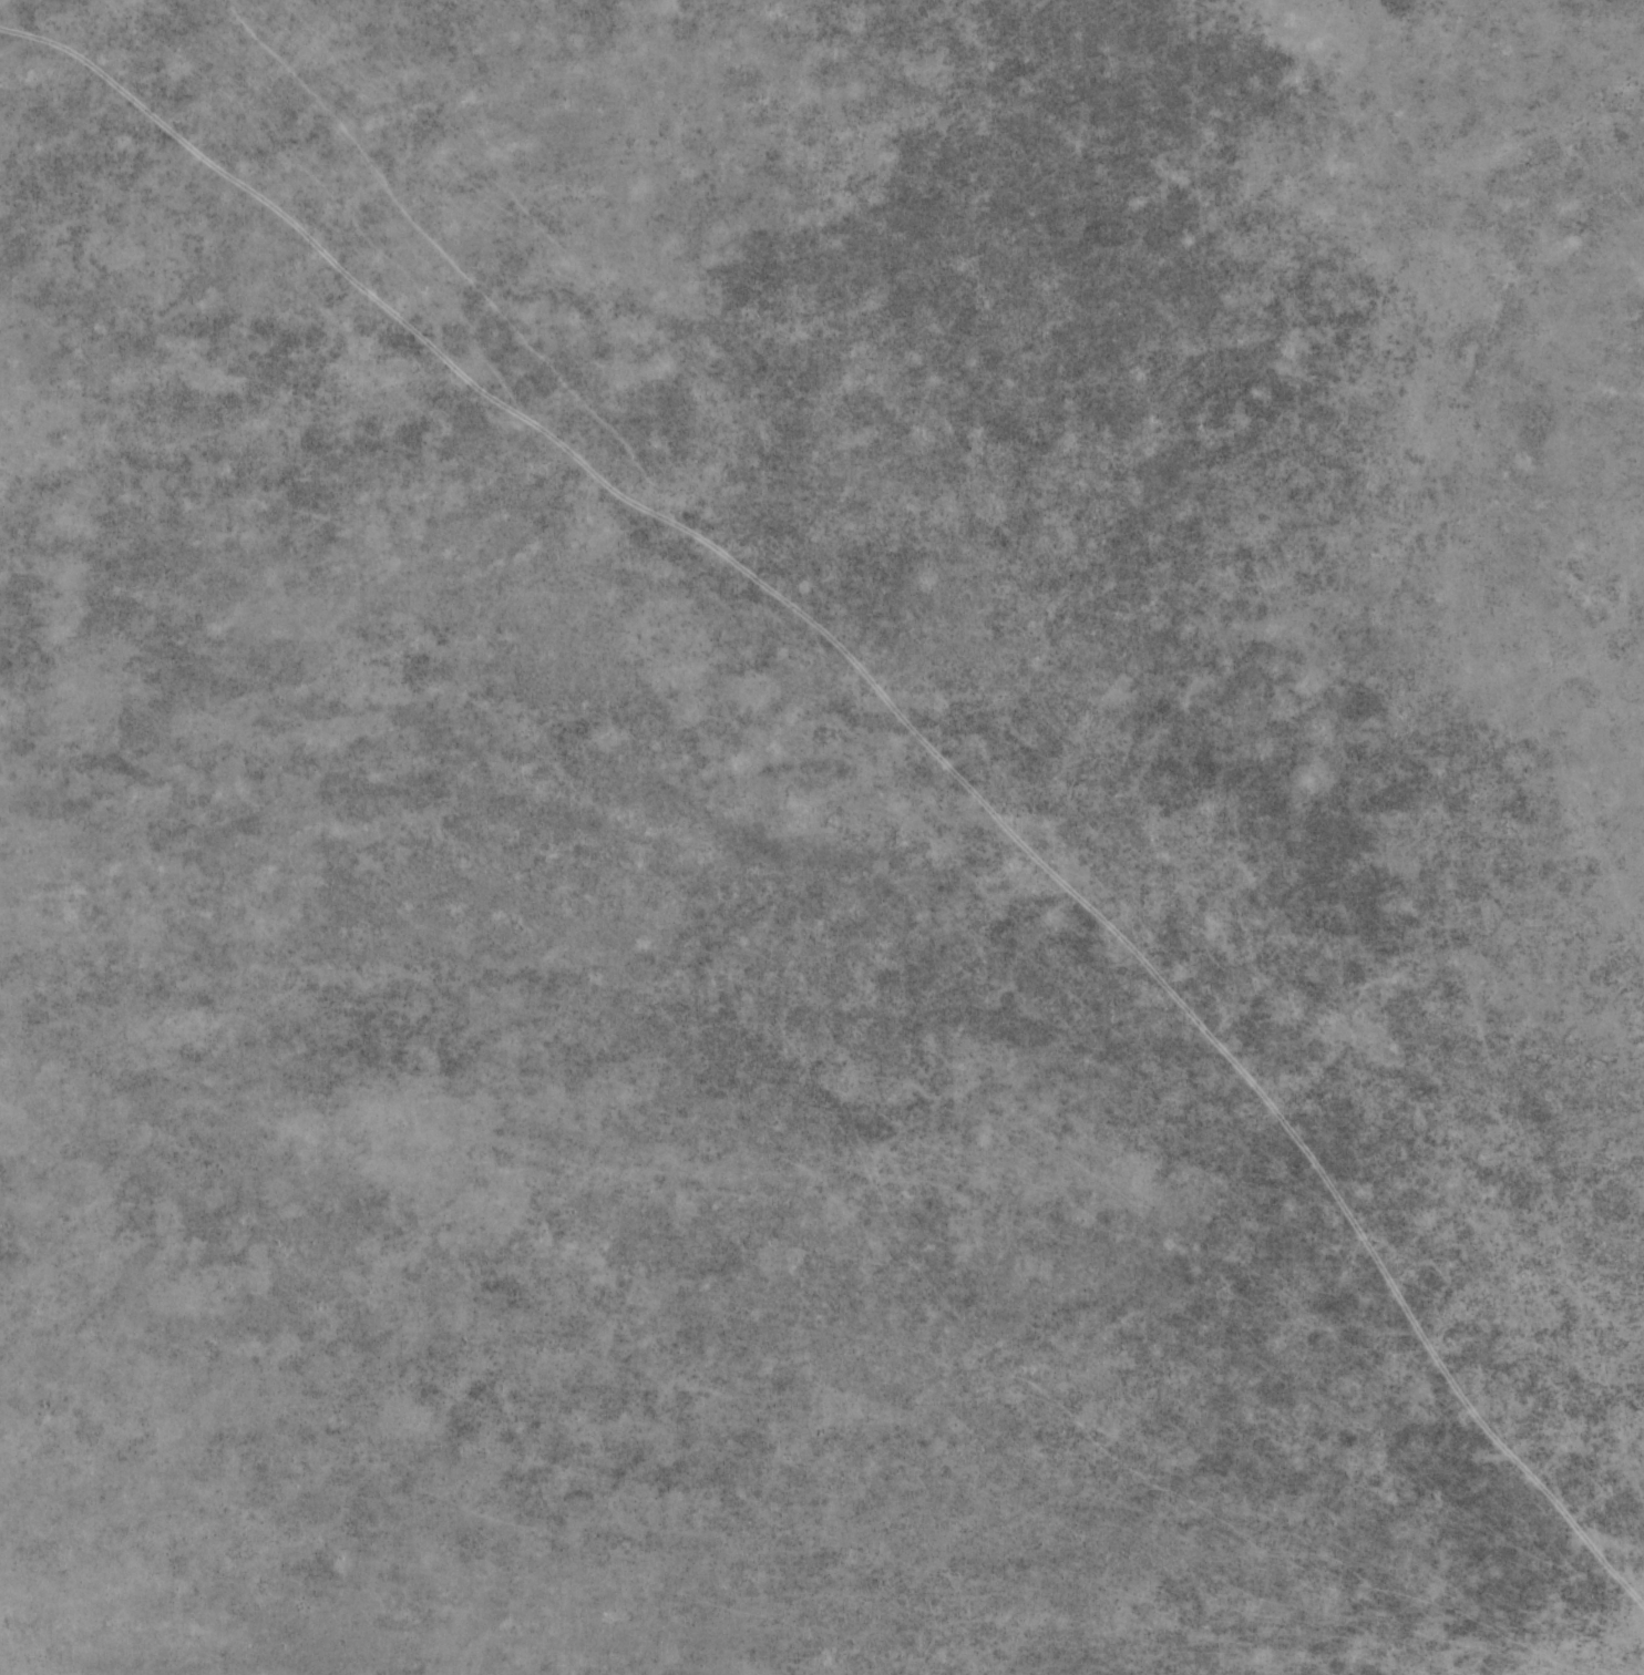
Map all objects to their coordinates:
road: (925, 728)

